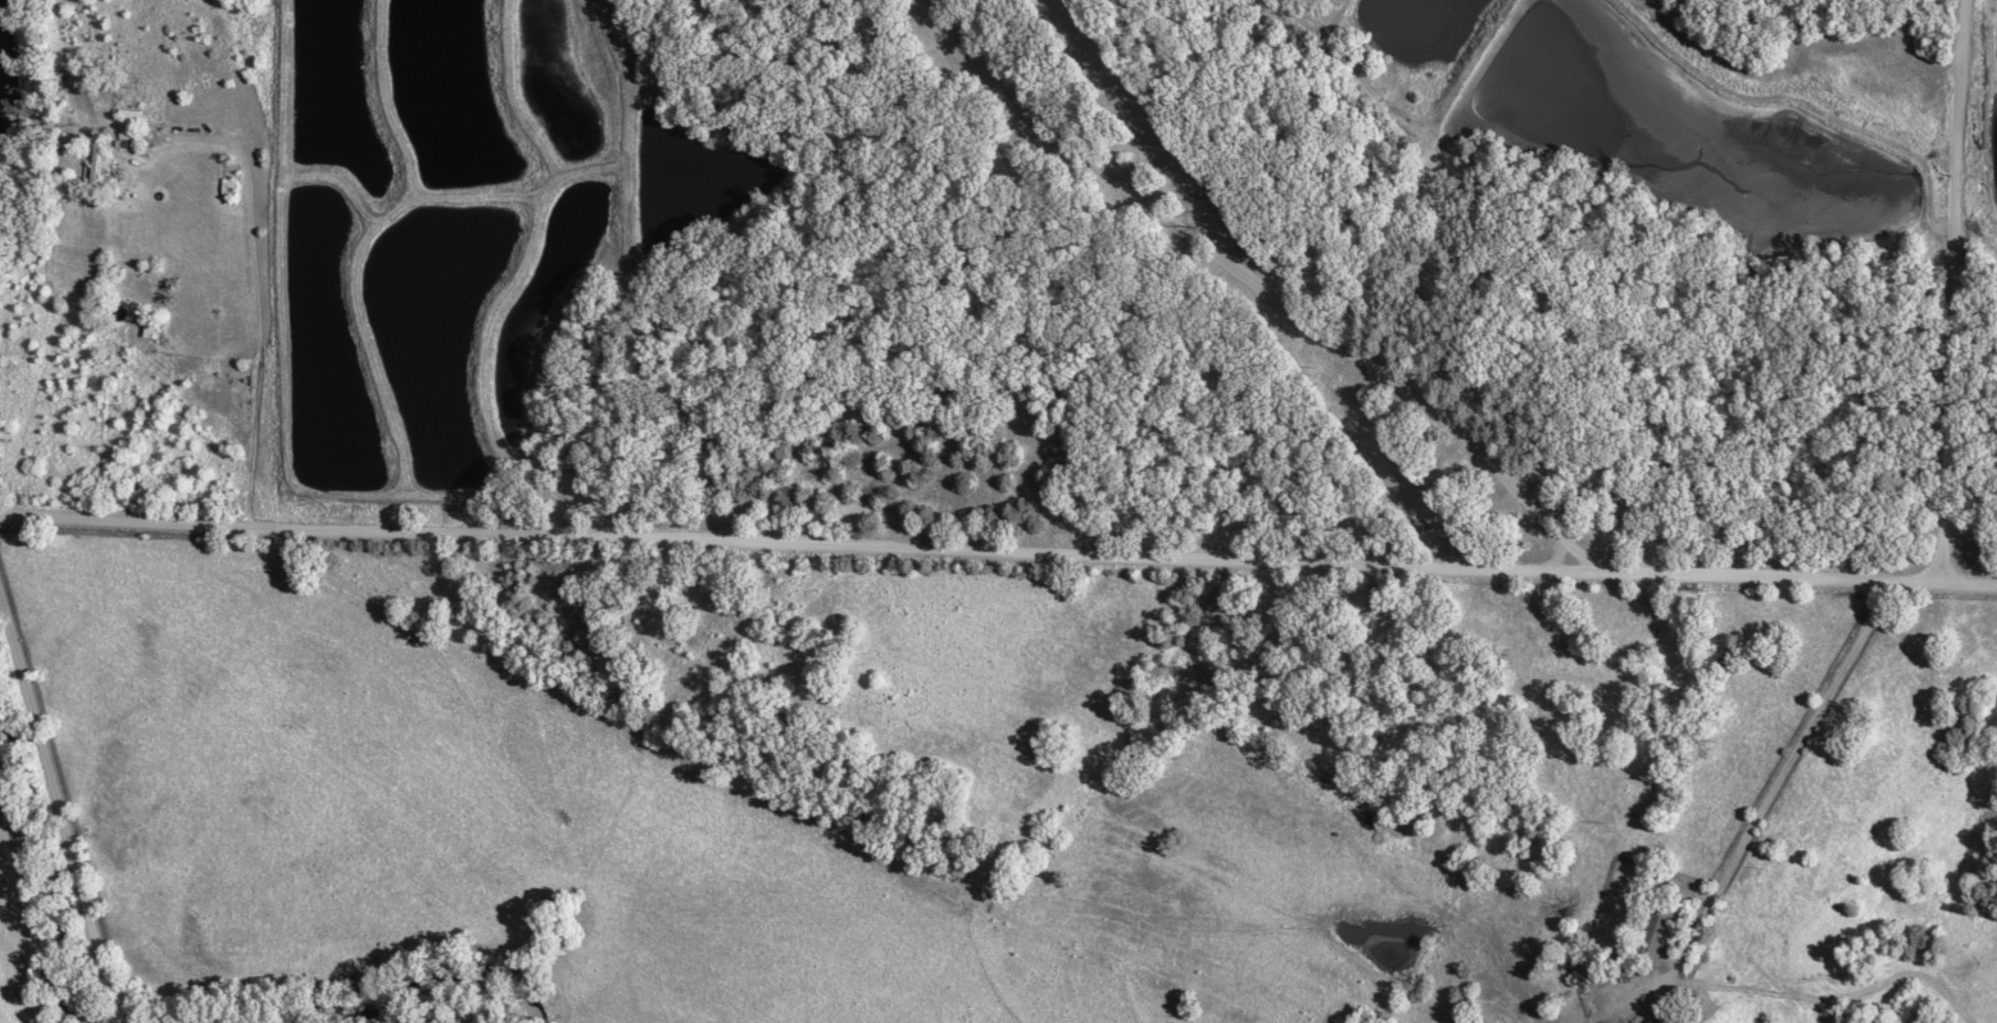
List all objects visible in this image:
road: (625, 110)
building: (128, 126)
building: (97, 165)
building: (226, 190)
road: (1256, 287)
road: (1963, 291)
road: (998, 551)
road: (1769, 779)
road: (64, 794)
building: (1652, 933)
building: (1606, 1003)

